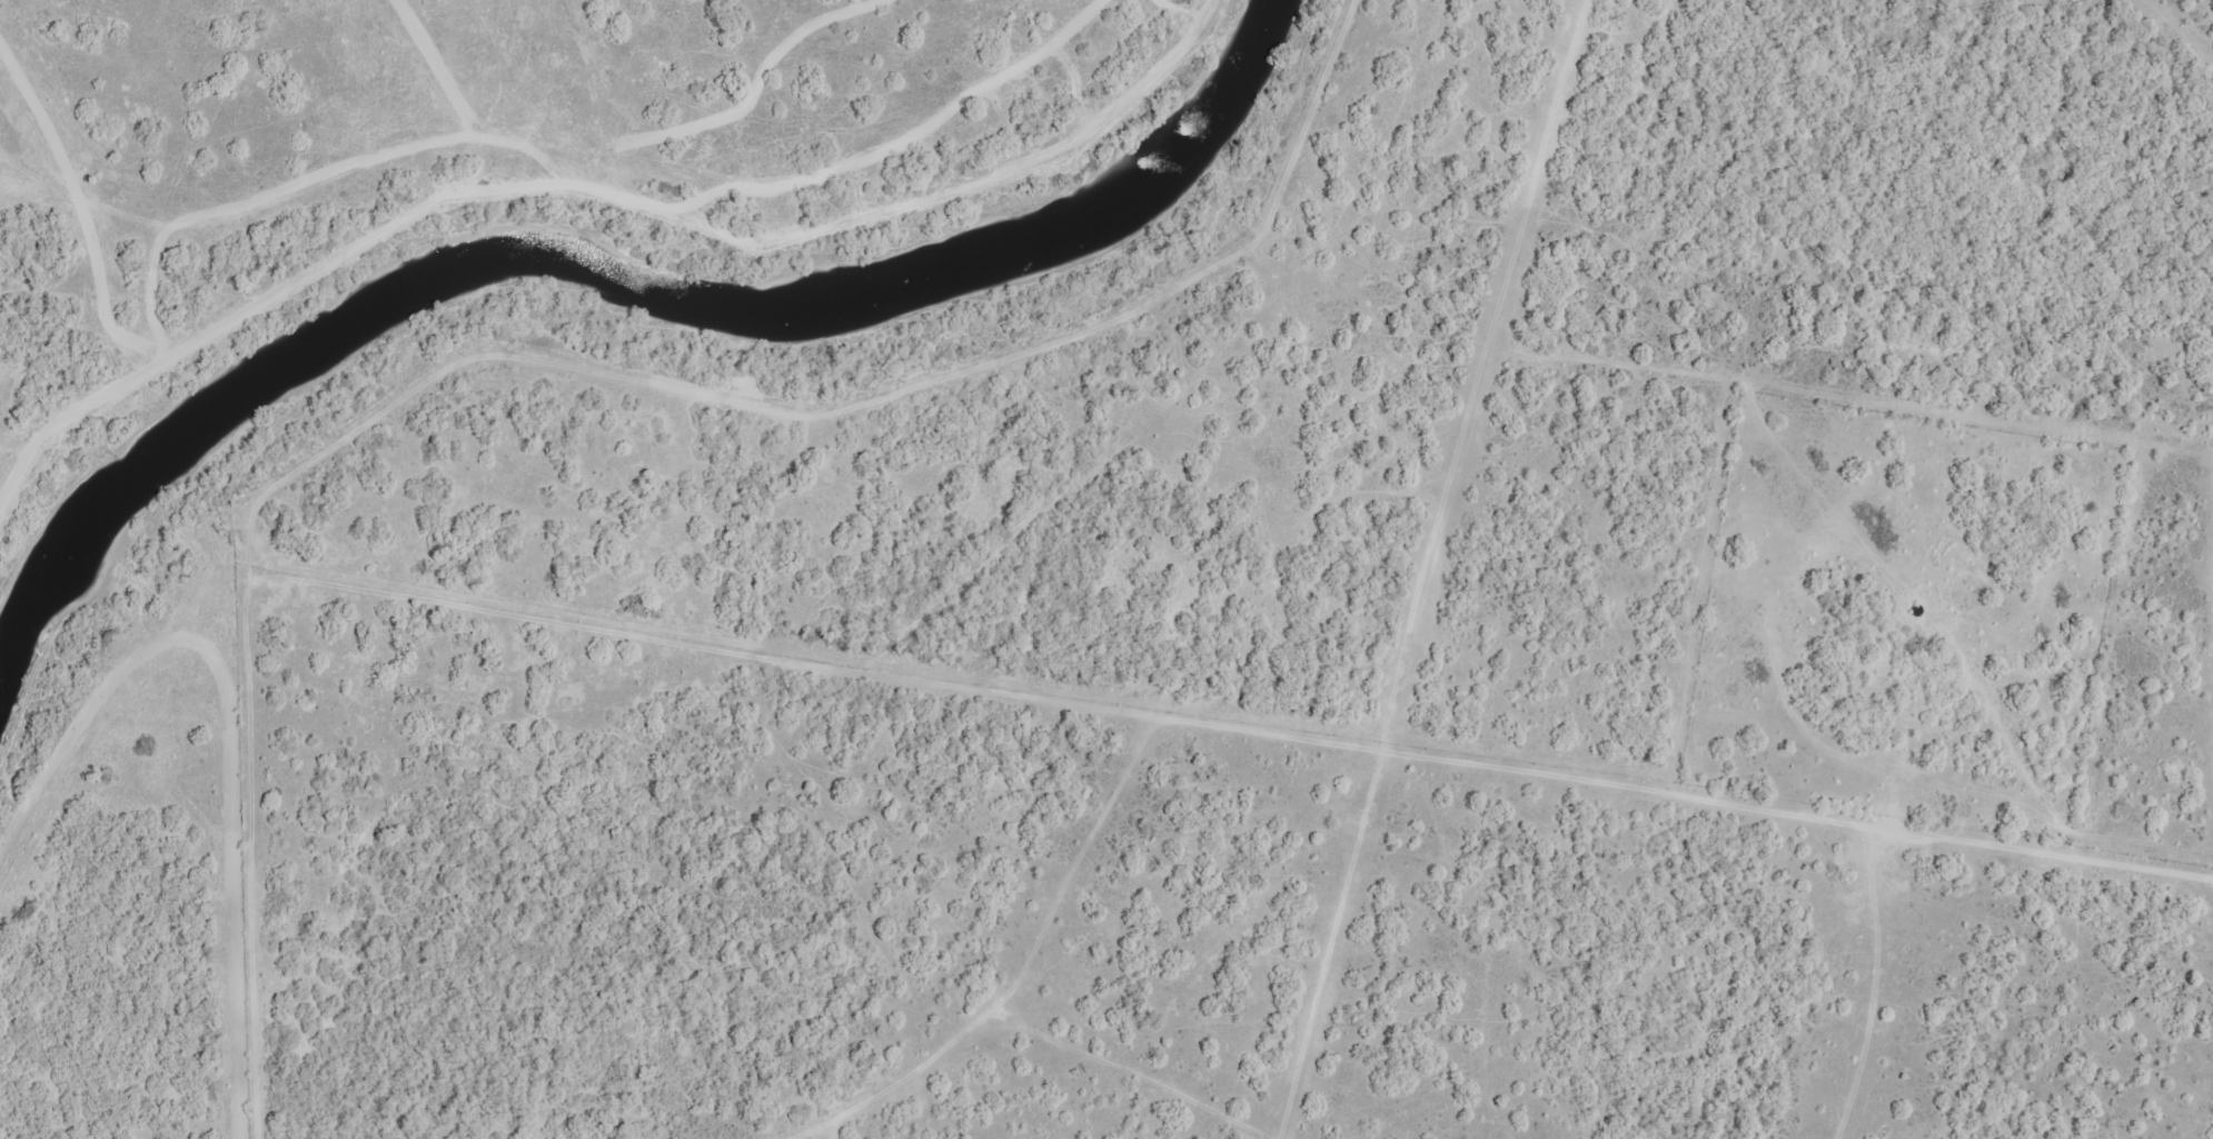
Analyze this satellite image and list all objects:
road: (520, 165)
river: (607, 274)
road: (1617, 735)

